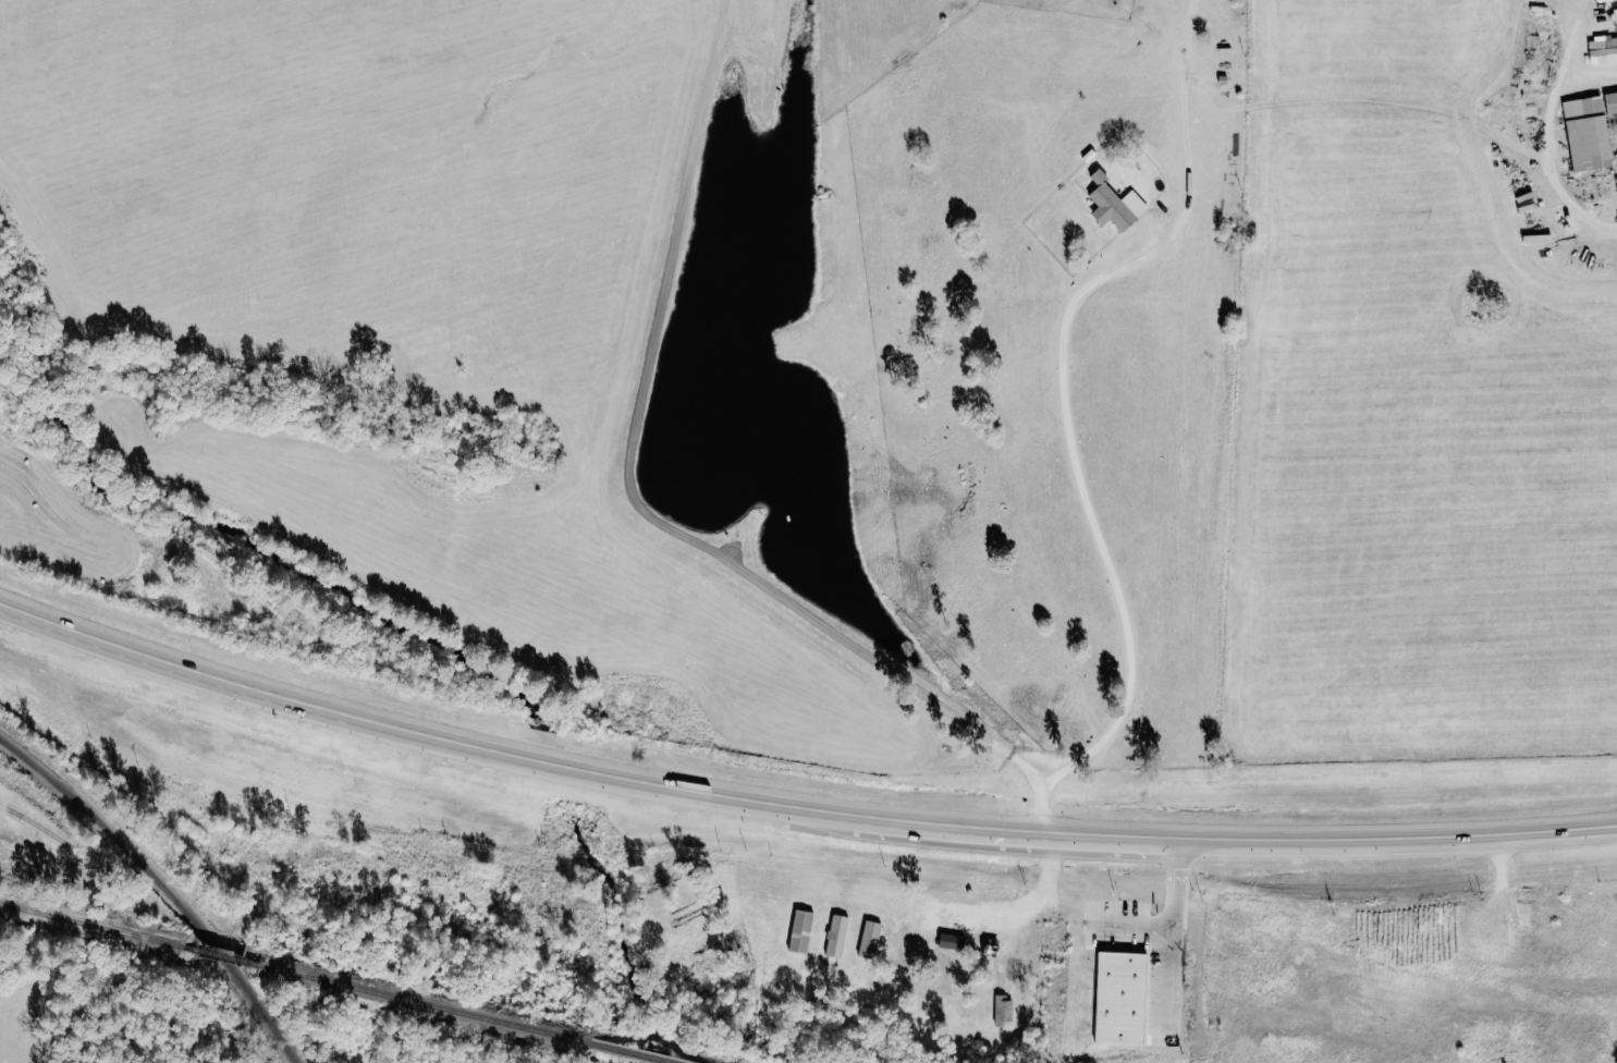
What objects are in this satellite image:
building: (1616, 16)
building: (1604, 50)
building: (1613, 102)
building: (1590, 133)
road: (1548, 143)
building: (1116, 204)
road: (1062, 398)
road: (651, 513)
railway: (10, 811)
road: (795, 818)
railway: (37, 827)
railway: (162, 887)
railway: (90, 926)
building: (803, 932)
building: (871, 940)
railway: (211, 955)
building: (1005, 982)
building: (1122, 1000)
railway: (455, 1012)
building: (1164, 1018)

